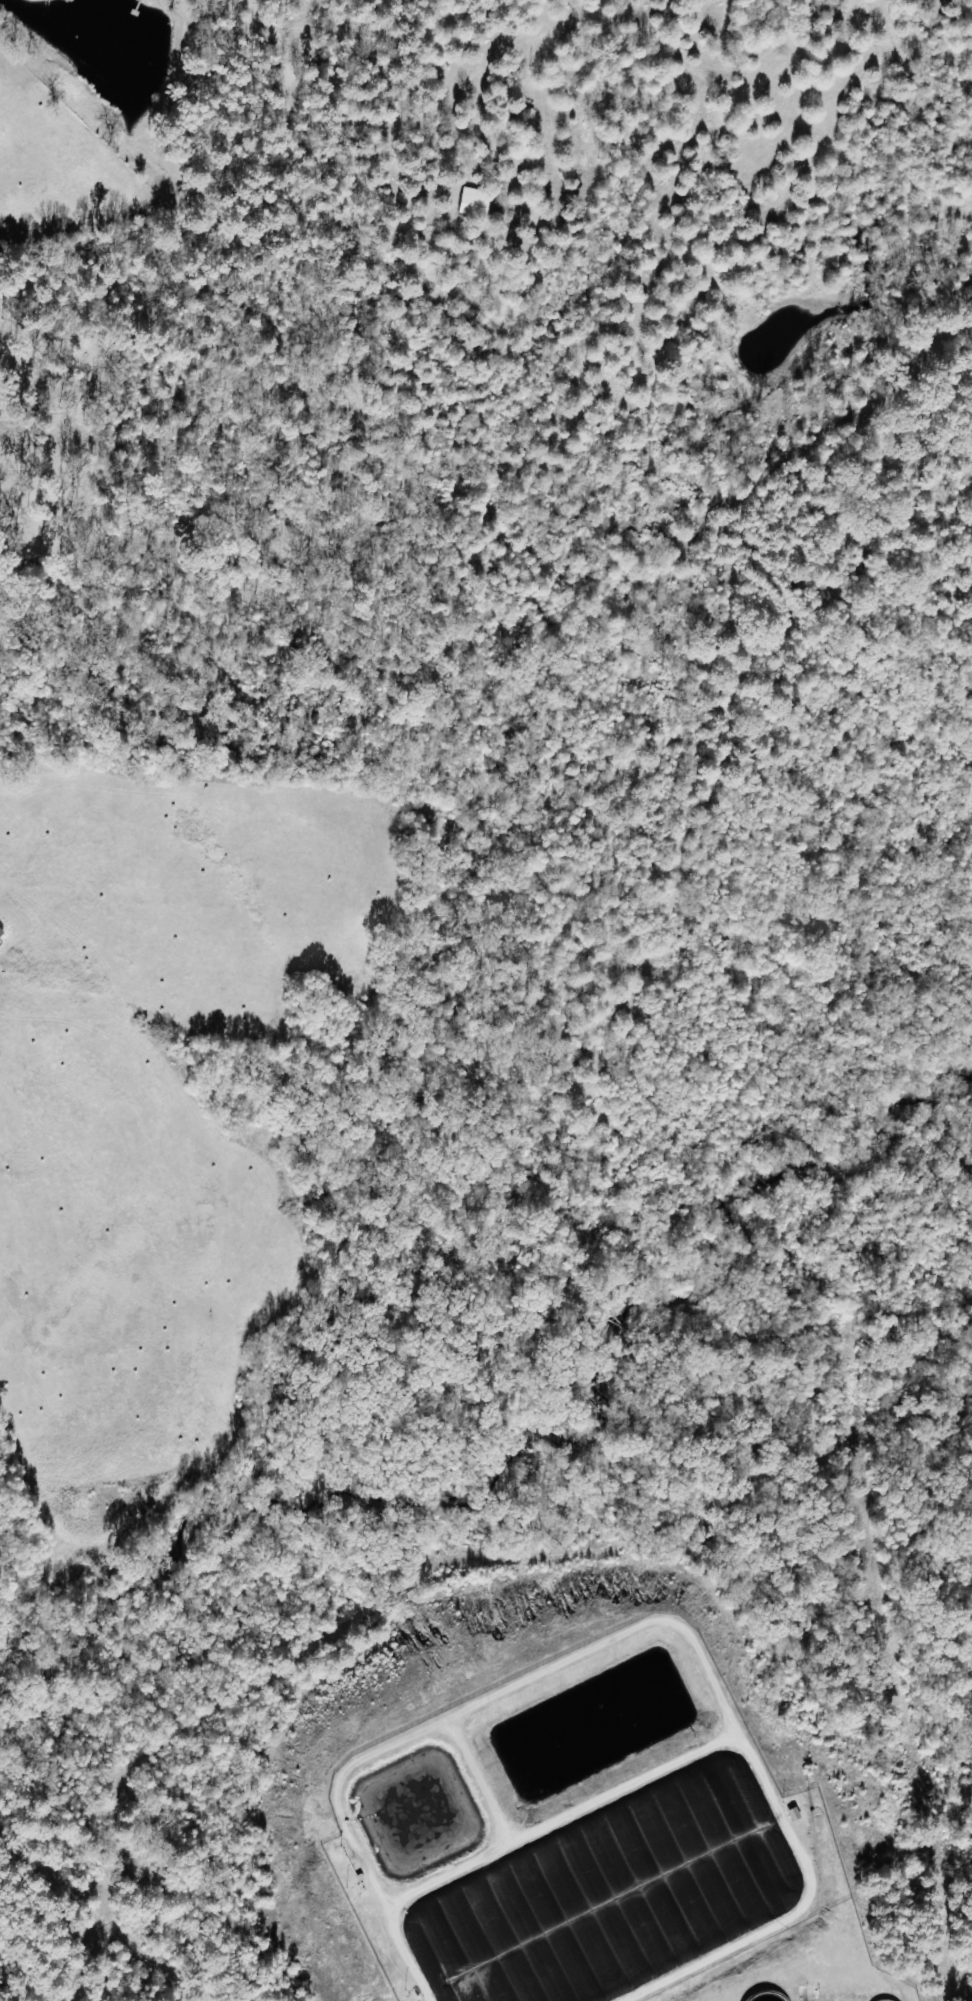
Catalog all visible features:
building: (473, 202)
building: (0, 932)

